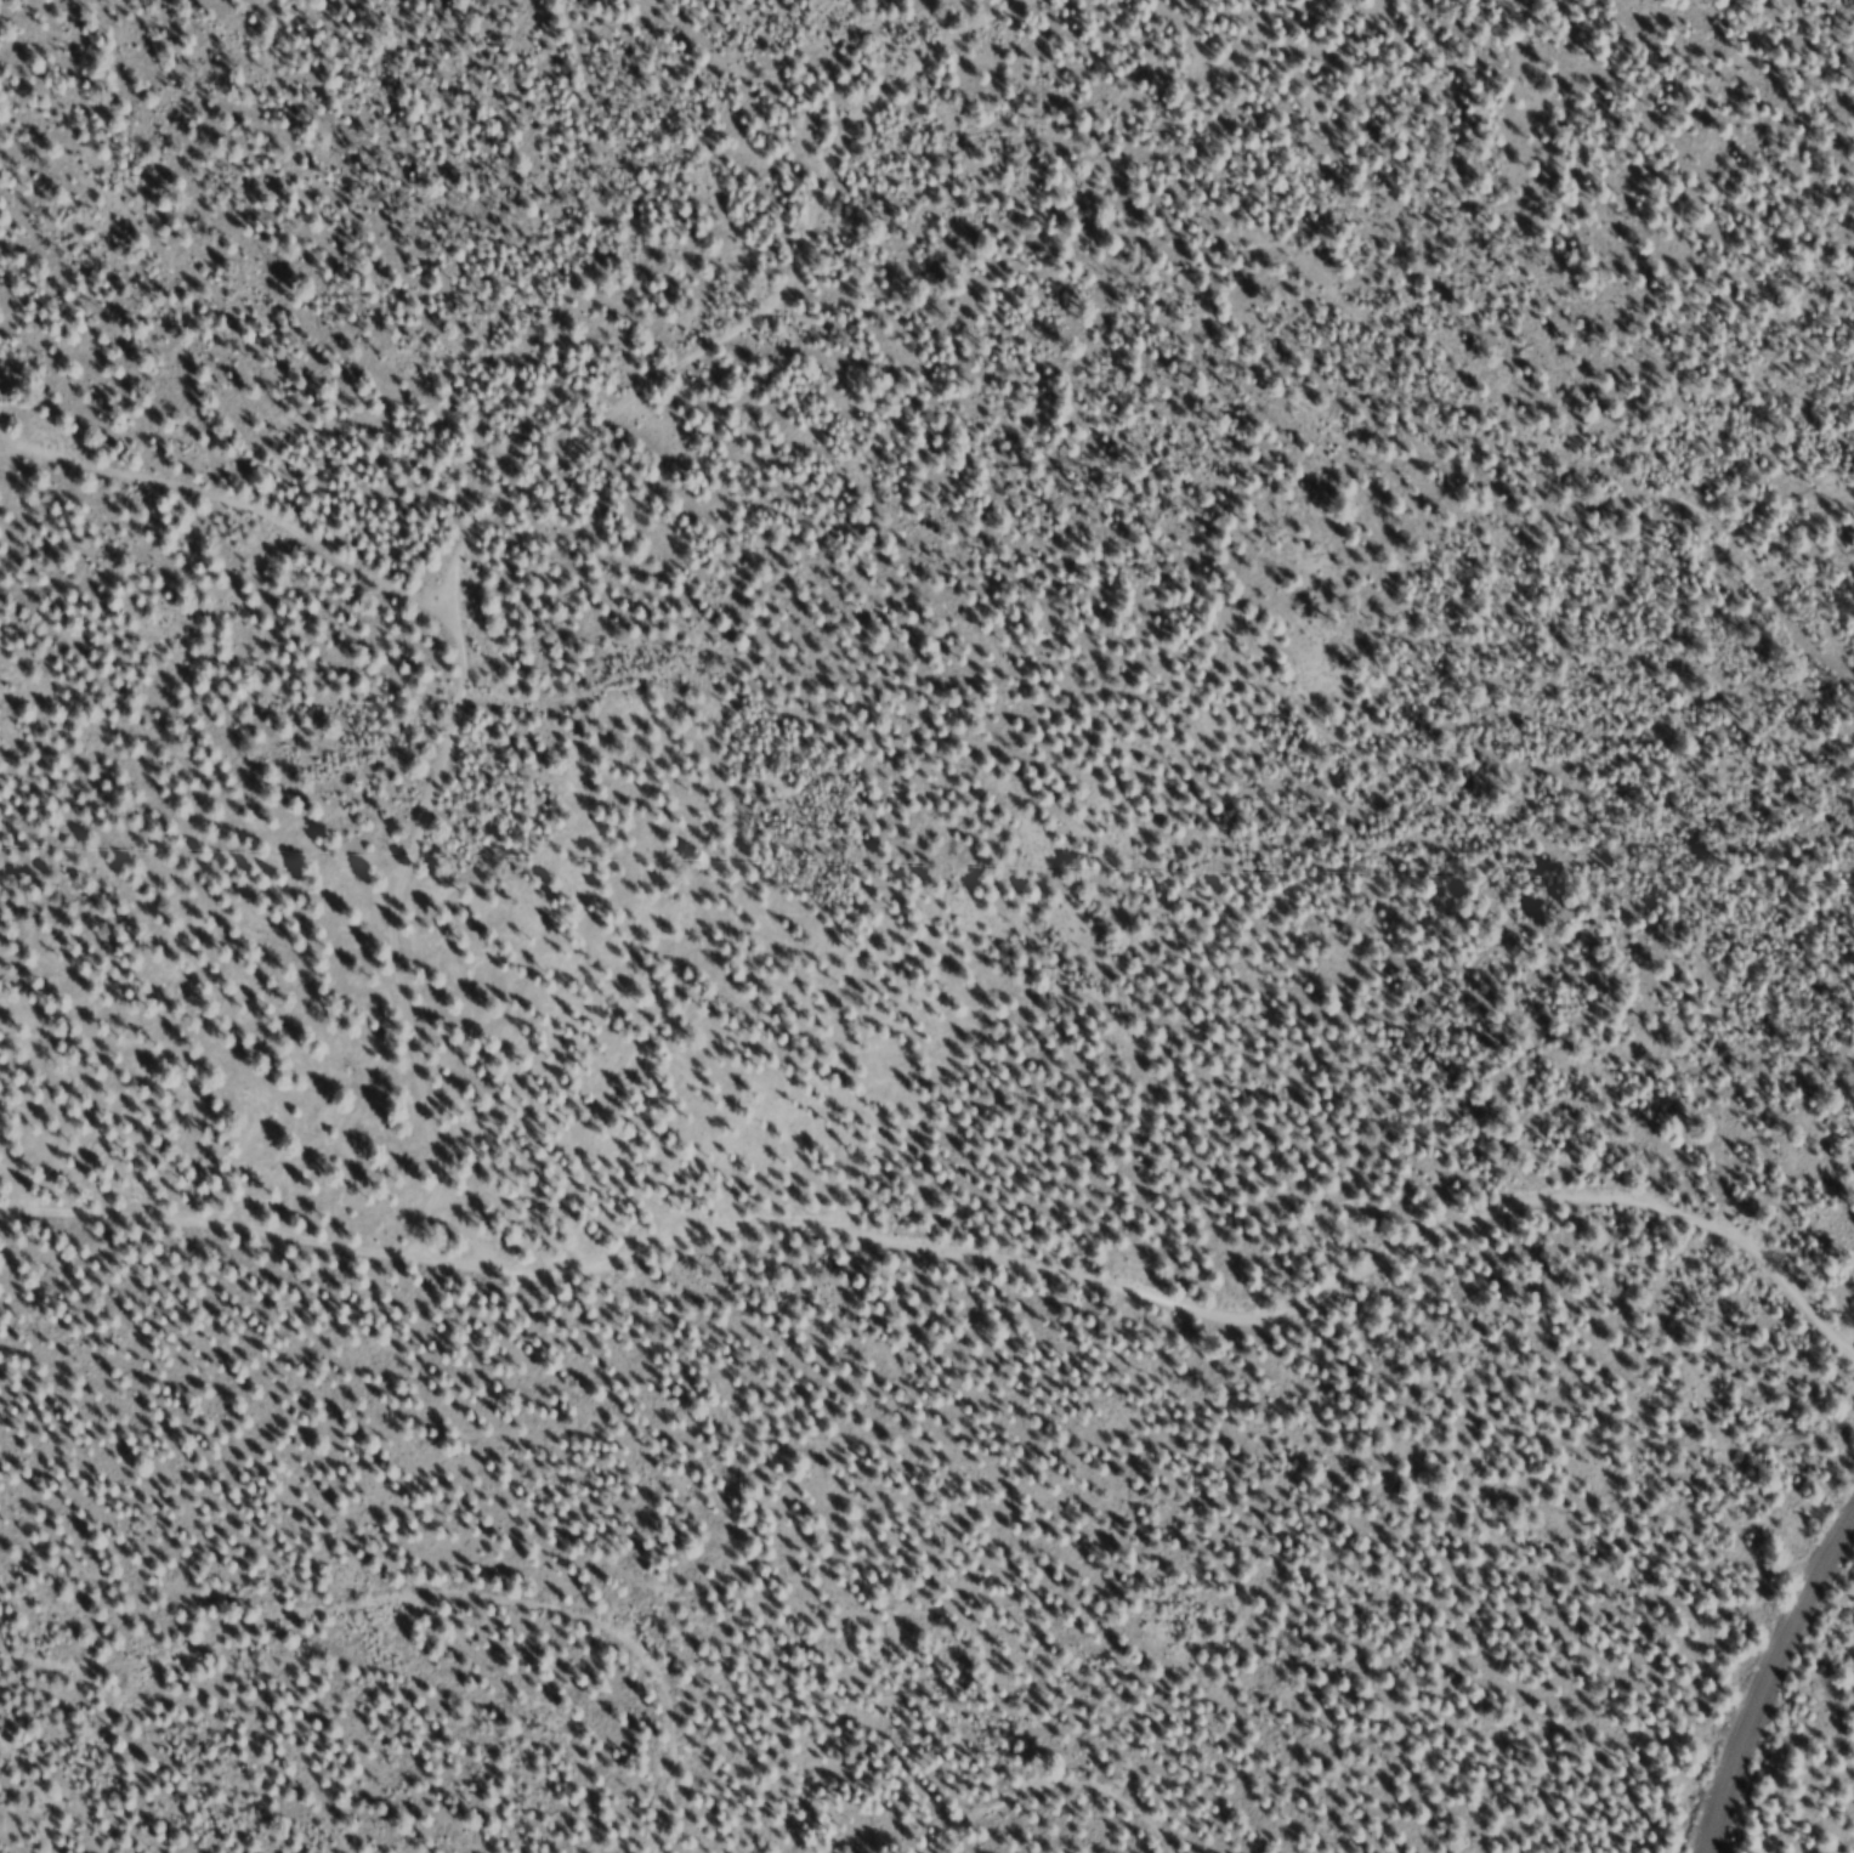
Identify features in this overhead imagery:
road: (597, 454)
road: (228, 572)
road: (988, 1173)
road: (414, 1634)
road: (1771, 1683)
road: (33, 1773)
road: (1081, 1798)

